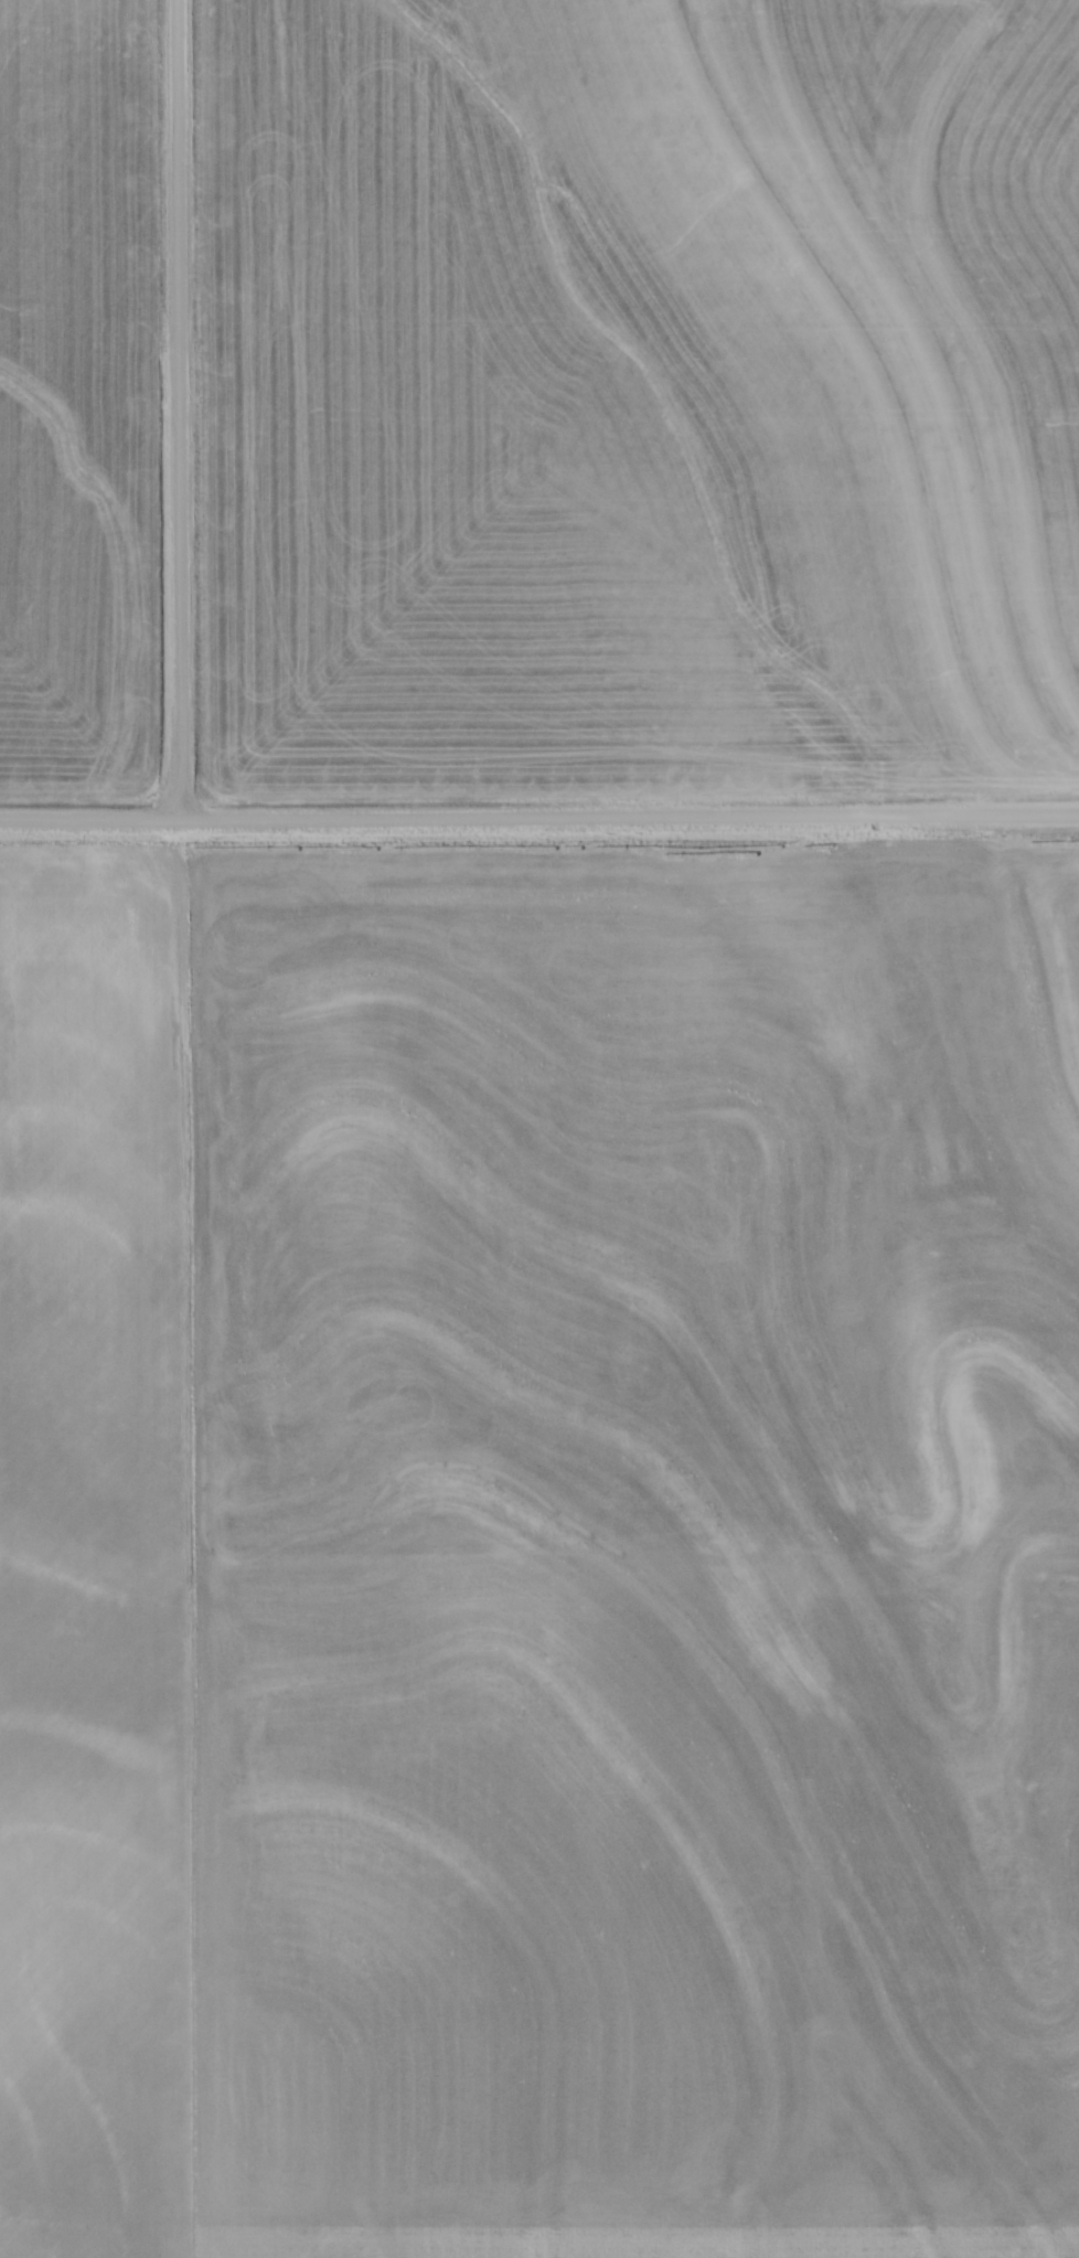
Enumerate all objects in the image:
road: (183, 411)
road: (539, 819)

